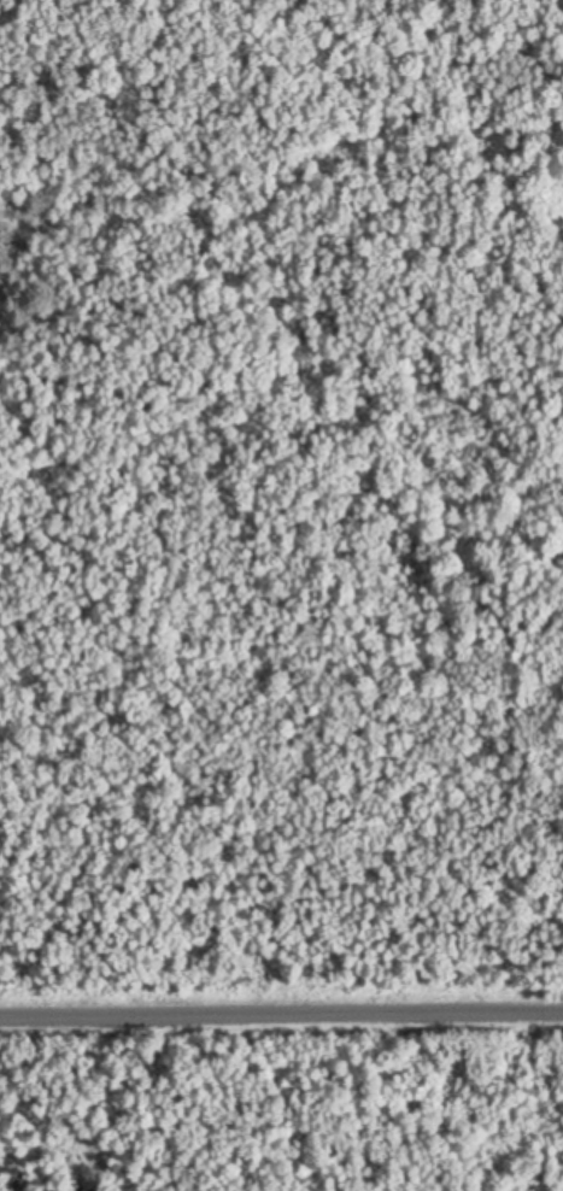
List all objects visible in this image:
road: (281, 1014)

